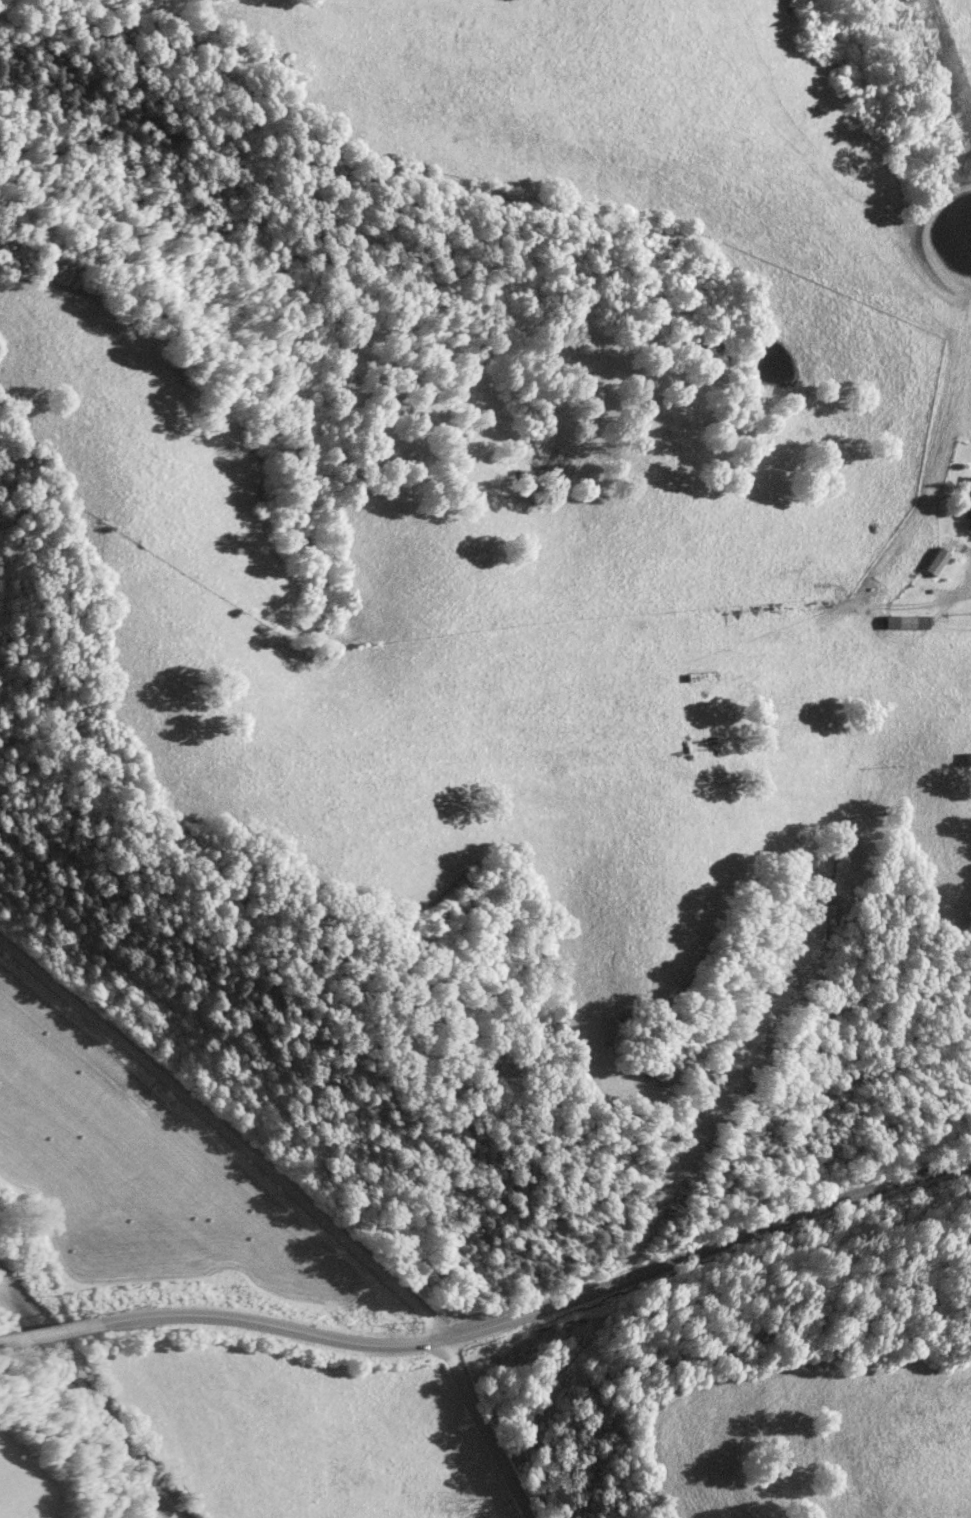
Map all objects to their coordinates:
building: (964, 505)
building: (930, 563)
road: (967, 574)
building: (898, 623)
road: (225, 1128)
road: (705, 1249)
road: (220, 1318)
road: (482, 1425)

